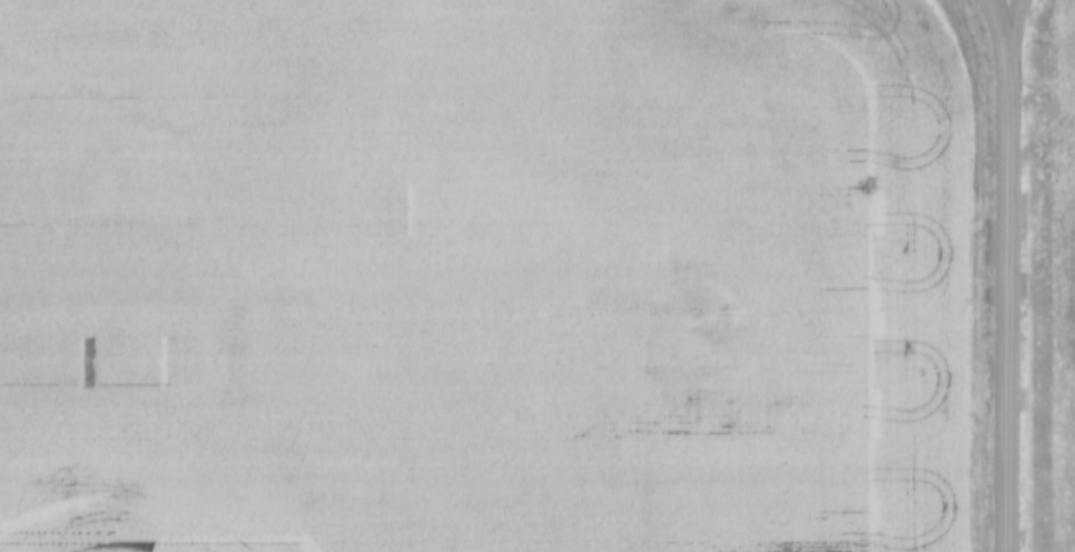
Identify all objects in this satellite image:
road: (1015, 22)
road: (1010, 274)

